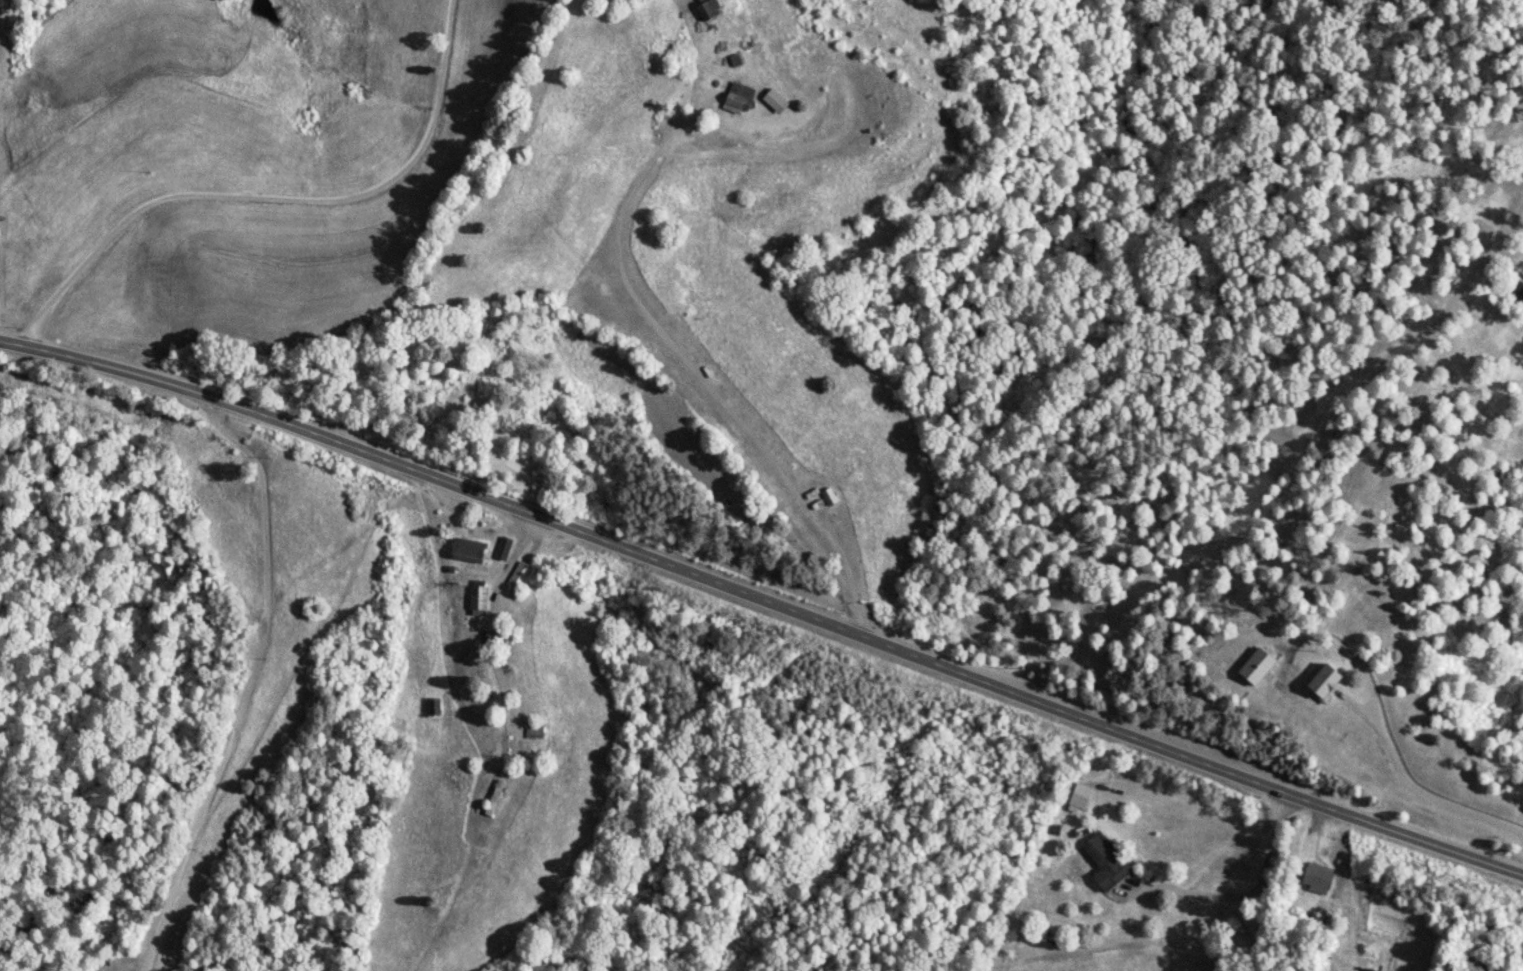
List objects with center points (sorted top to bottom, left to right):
building: (709, 9)
building: (739, 98)
building: (775, 101)
road: (276, 198)
road: (694, 366)
building: (469, 551)
building: (520, 576)
road: (764, 600)
building: (478, 601)
building: (494, 639)
road: (253, 679)
building: (433, 708)
building: (535, 731)
building: (1107, 862)
building: (1318, 879)
road: (1263, 881)
building: (1370, 970)

